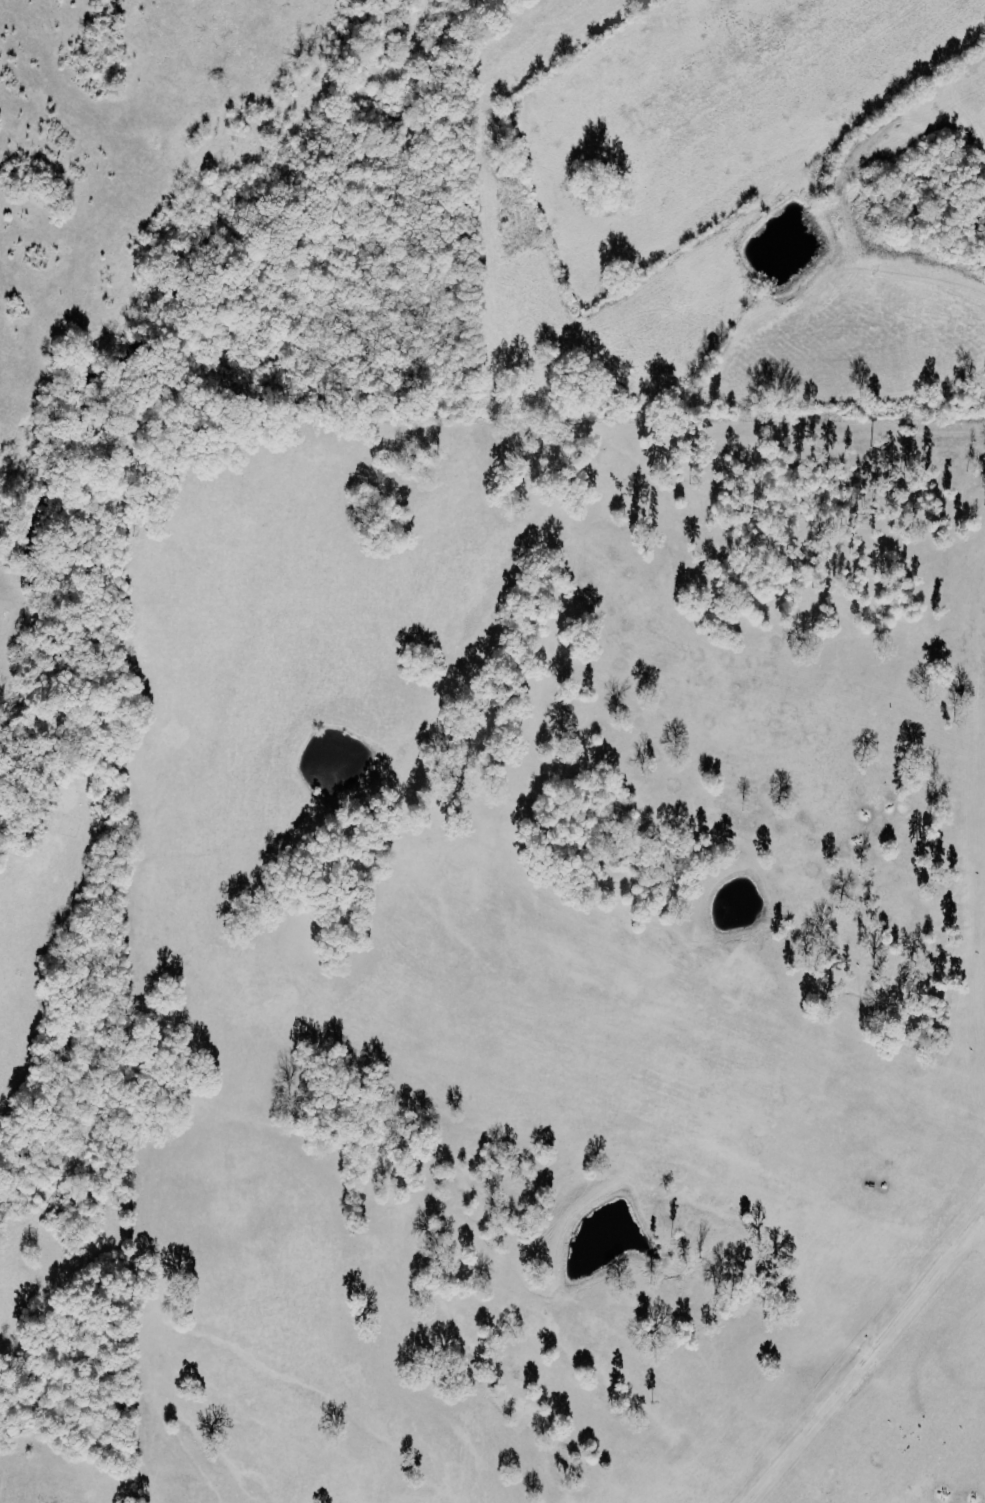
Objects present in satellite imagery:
road: (785, 210)

